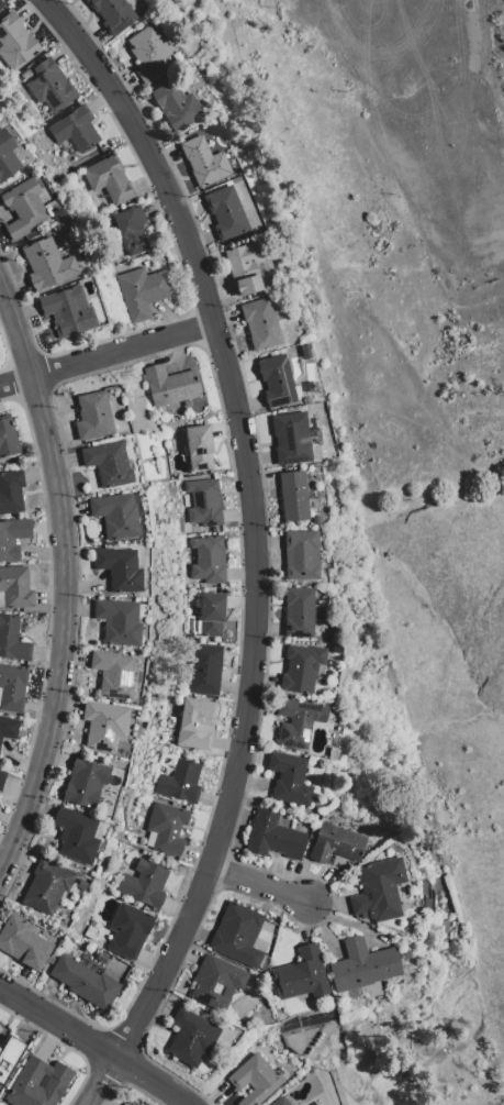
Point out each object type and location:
building: (0, 3)
building: (0, 7)
building: (111, 14)
building: (14, 43)
building: (147, 54)
building: (49, 86)
building: (176, 107)
building: (74, 131)
building: (11, 157)
building: (202, 162)
building: (108, 179)
building: (22, 208)
building: (224, 213)
building: (131, 230)
building: (46, 265)
building: (243, 268)
building: (142, 291)
building: (67, 311)
building: (259, 324)
road: (16, 328)
road: (107, 355)
building: (275, 380)
building: (169, 386)
building: (91, 417)
building: (7, 438)
building: (289, 439)
building: (198, 447)
building: (107, 464)
building: (10, 491)
building: (292, 496)
building: (203, 502)
building: (114, 516)
building: (12, 537)
road: (255, 545)
building: (300, 555)
building: (208, 560)
building: (119, 570)
building: (15, 588)
building: (298, 612)
building: (210, 615)
building: (117, 622)
road: (64, 626)
building: (12, 640)
building: (301, 668)
building: (204, 670)
building: (112, 674)
building: (12, 687)
building: (296, 721)
building: (194, 723)
building: (103, 726)
building: (8, 728)
building: (1, 777)
building: (289, 778)
building: (83, 783)
building: (179, 783)
building: (165, 828)
building: (75, 836)
building: (272, 837)
building: (335, 844)
building: (143, 884)
road: (261, 885)
building: (45, 887)
building: (378, 891)
building: (127, 931)
building: (236, 935)
building: (22, 943)
building: (361, 966)
building: (300, 975)
building: (215, 982)
building: (83, 983)
building: (190, 1037)
road: (94, 1043)
building: (8, 1054)
building: (254, 1080)
building: (37, 1083)
building: (279, 1101)
building: (130, 1103)

